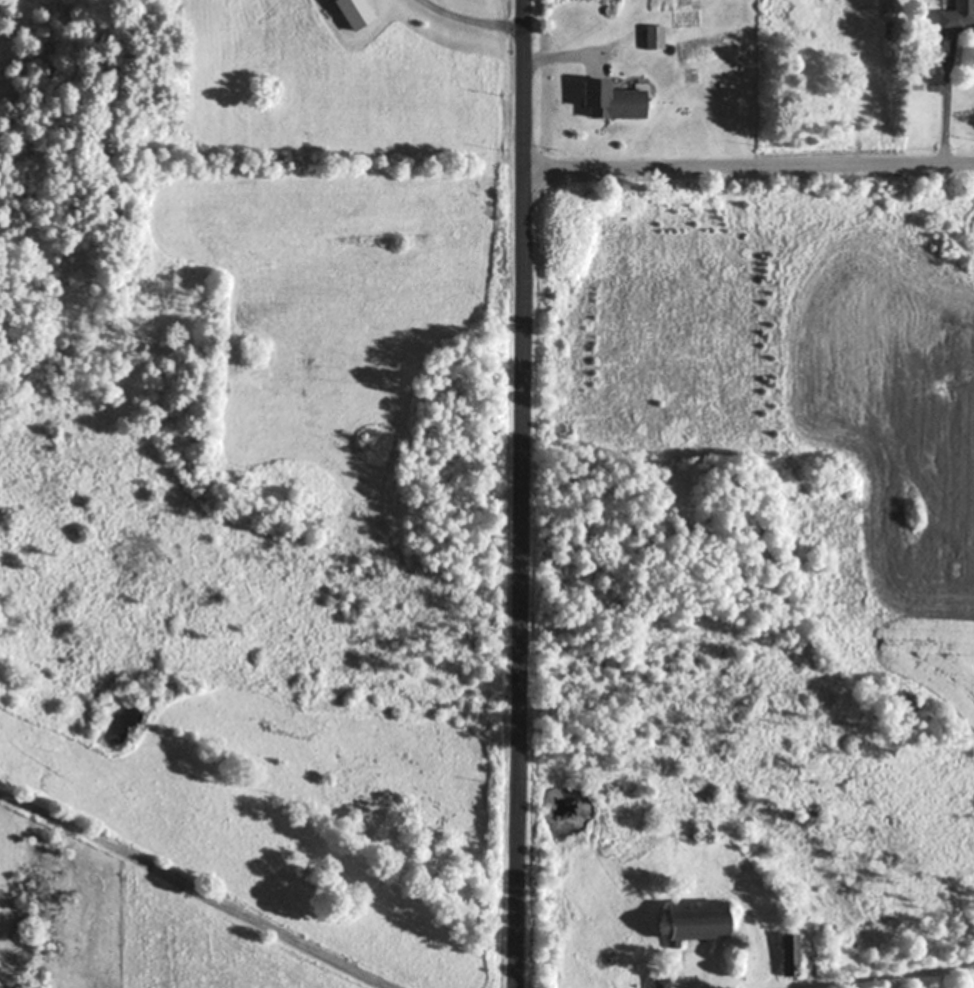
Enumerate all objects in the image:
building: (956, 17)
building: (653, 39)
building: (606, 102)
road: (749, 166)
road: (523, 494)
building: (690, 920)
building: (787, 956)

